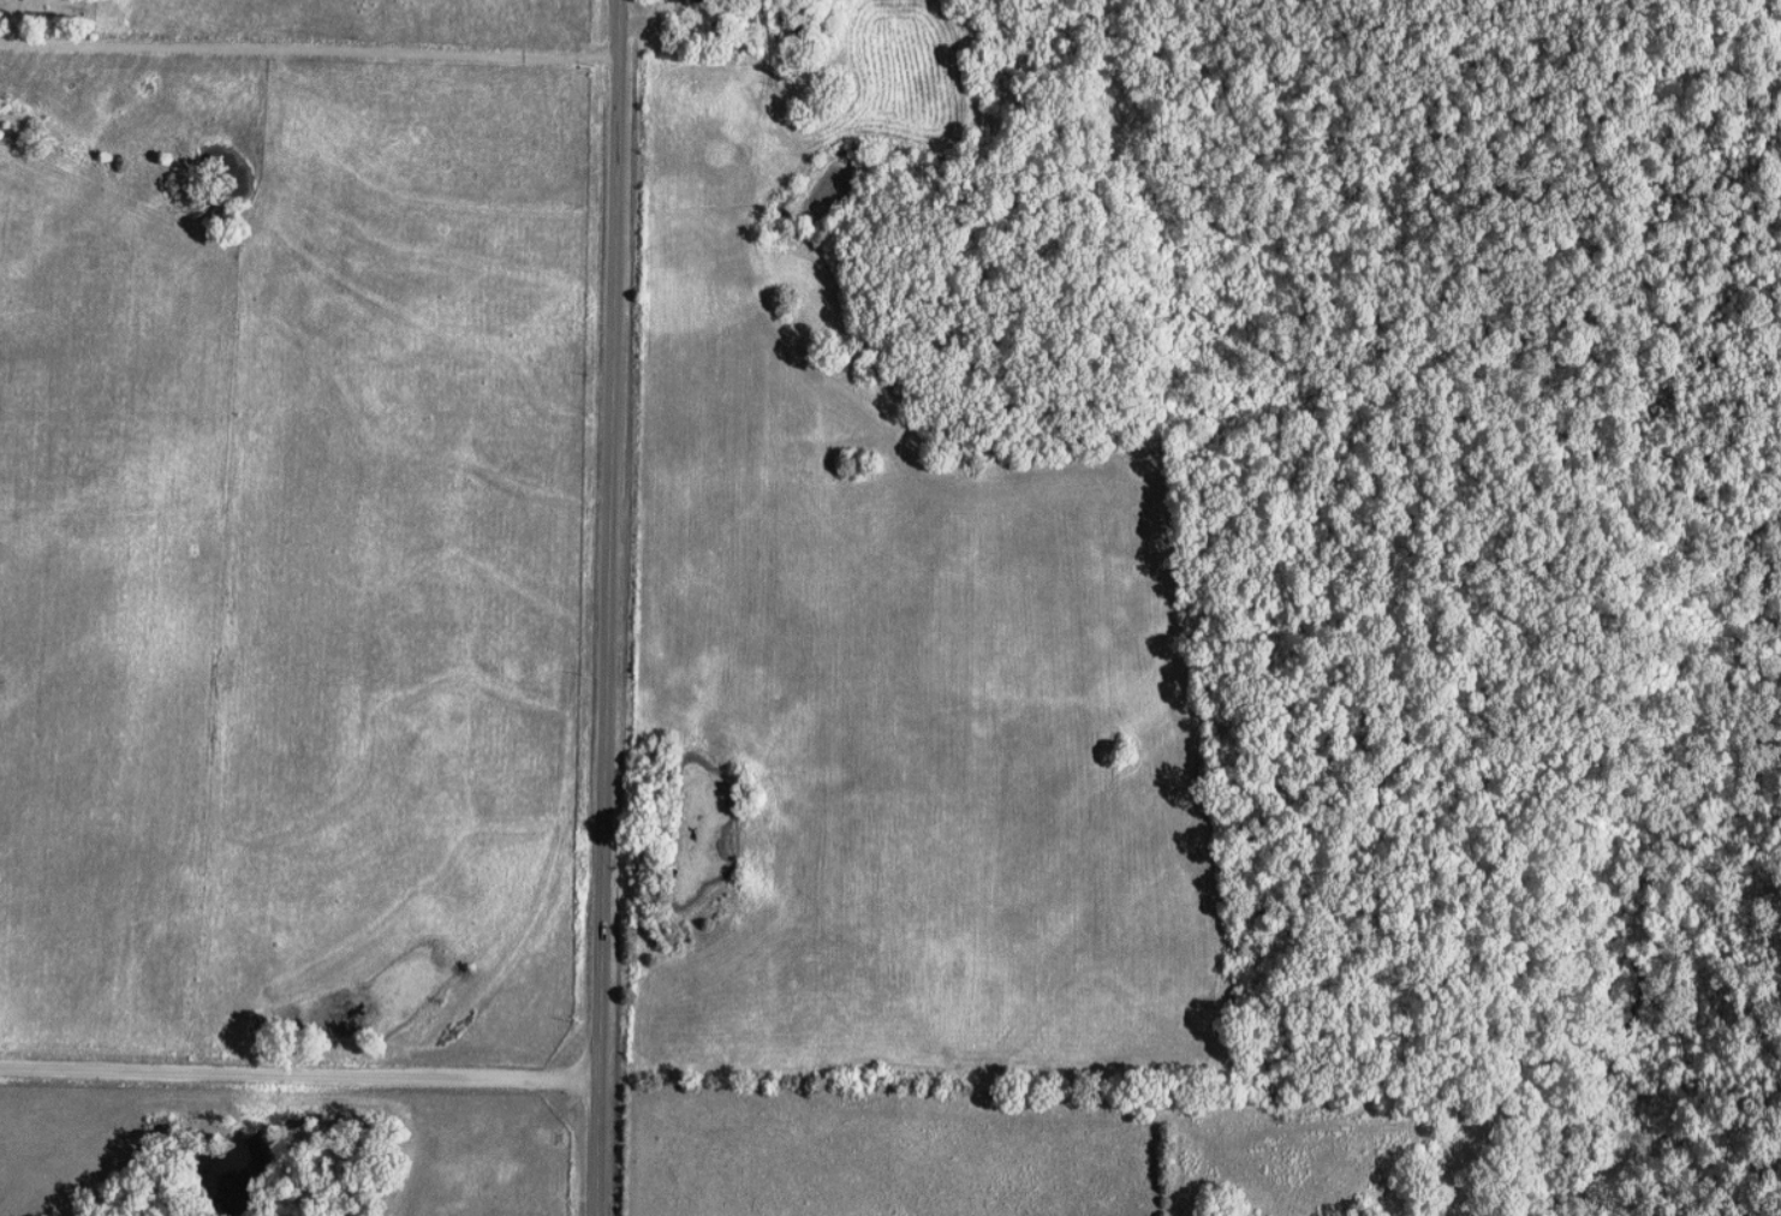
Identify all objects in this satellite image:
building: (689, 1)
road: (312, 49)
road: (615, 608)
road: (303, 1073)

